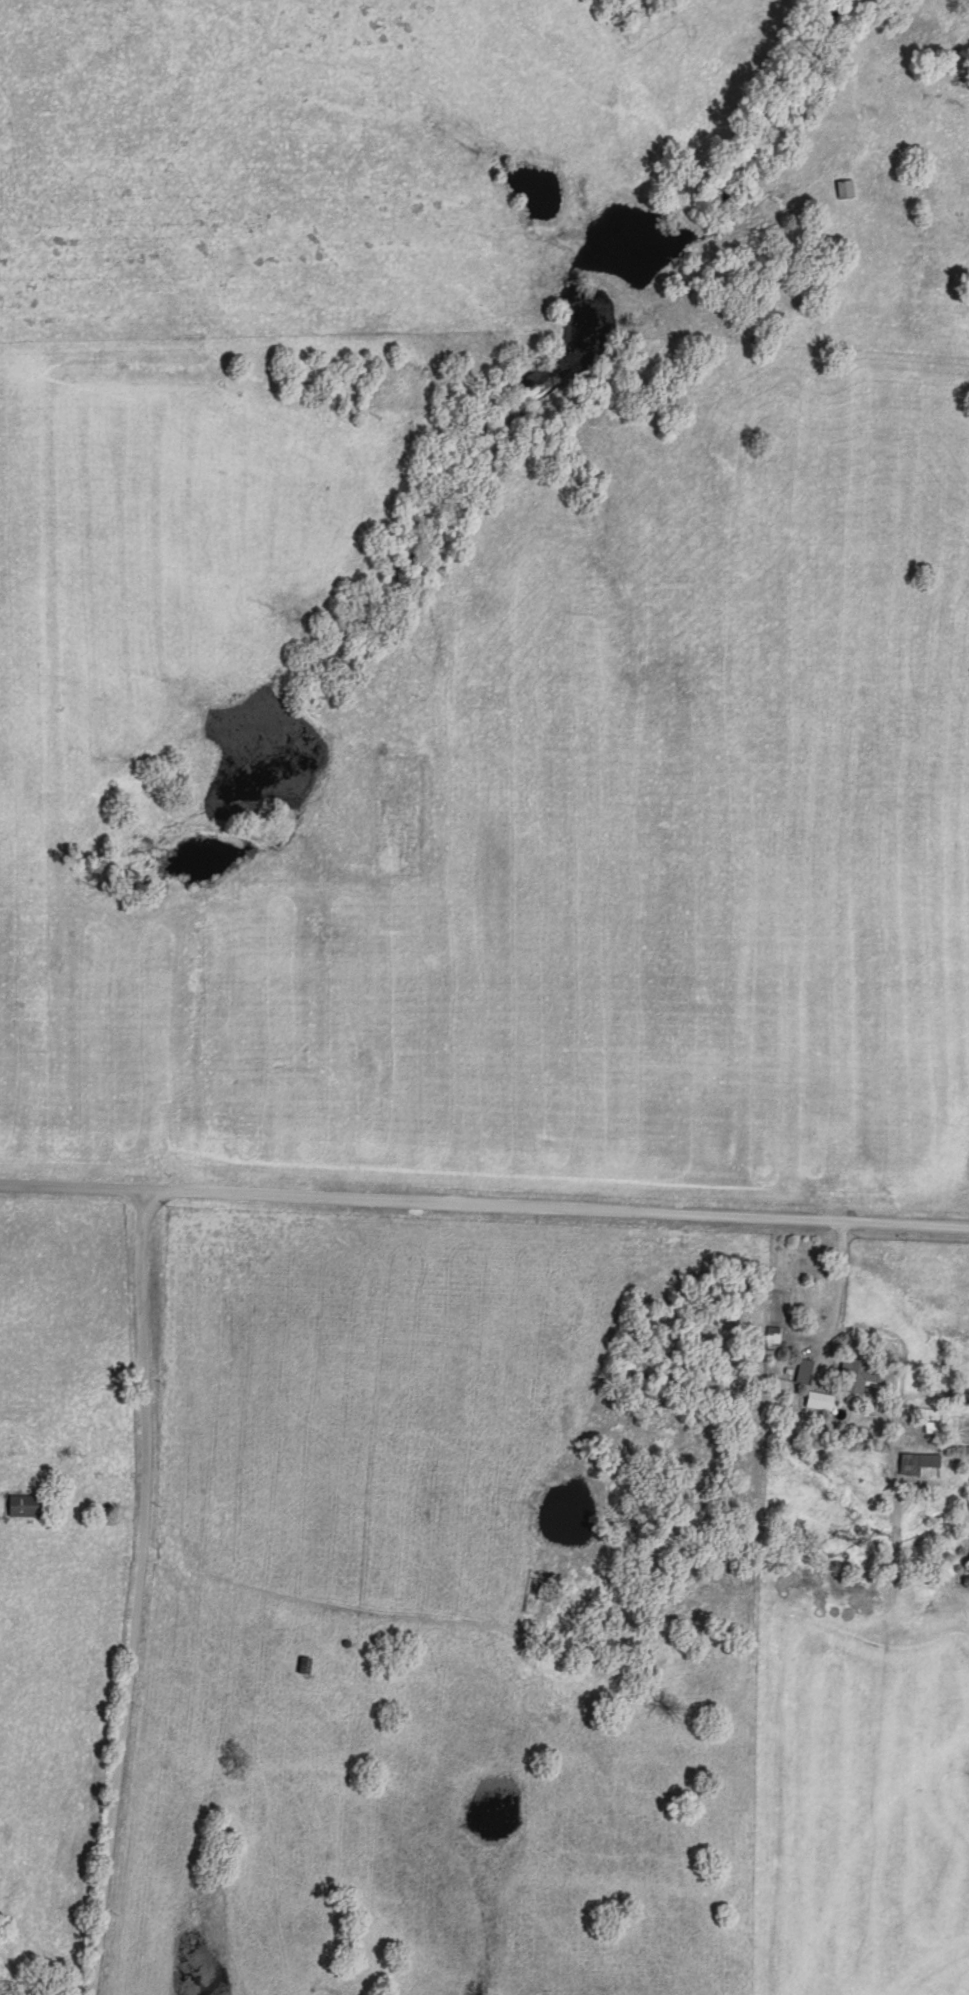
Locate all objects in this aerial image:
building: (846, 185)
road: (484, 1206)
road: (838, 1320)
building: (805, 1367)
building: (858, 1372)
building: (820, 1397)
building: (917, 1459)
road: (90, 1476)
building: (29, 1502)
road: (142, 1586)

